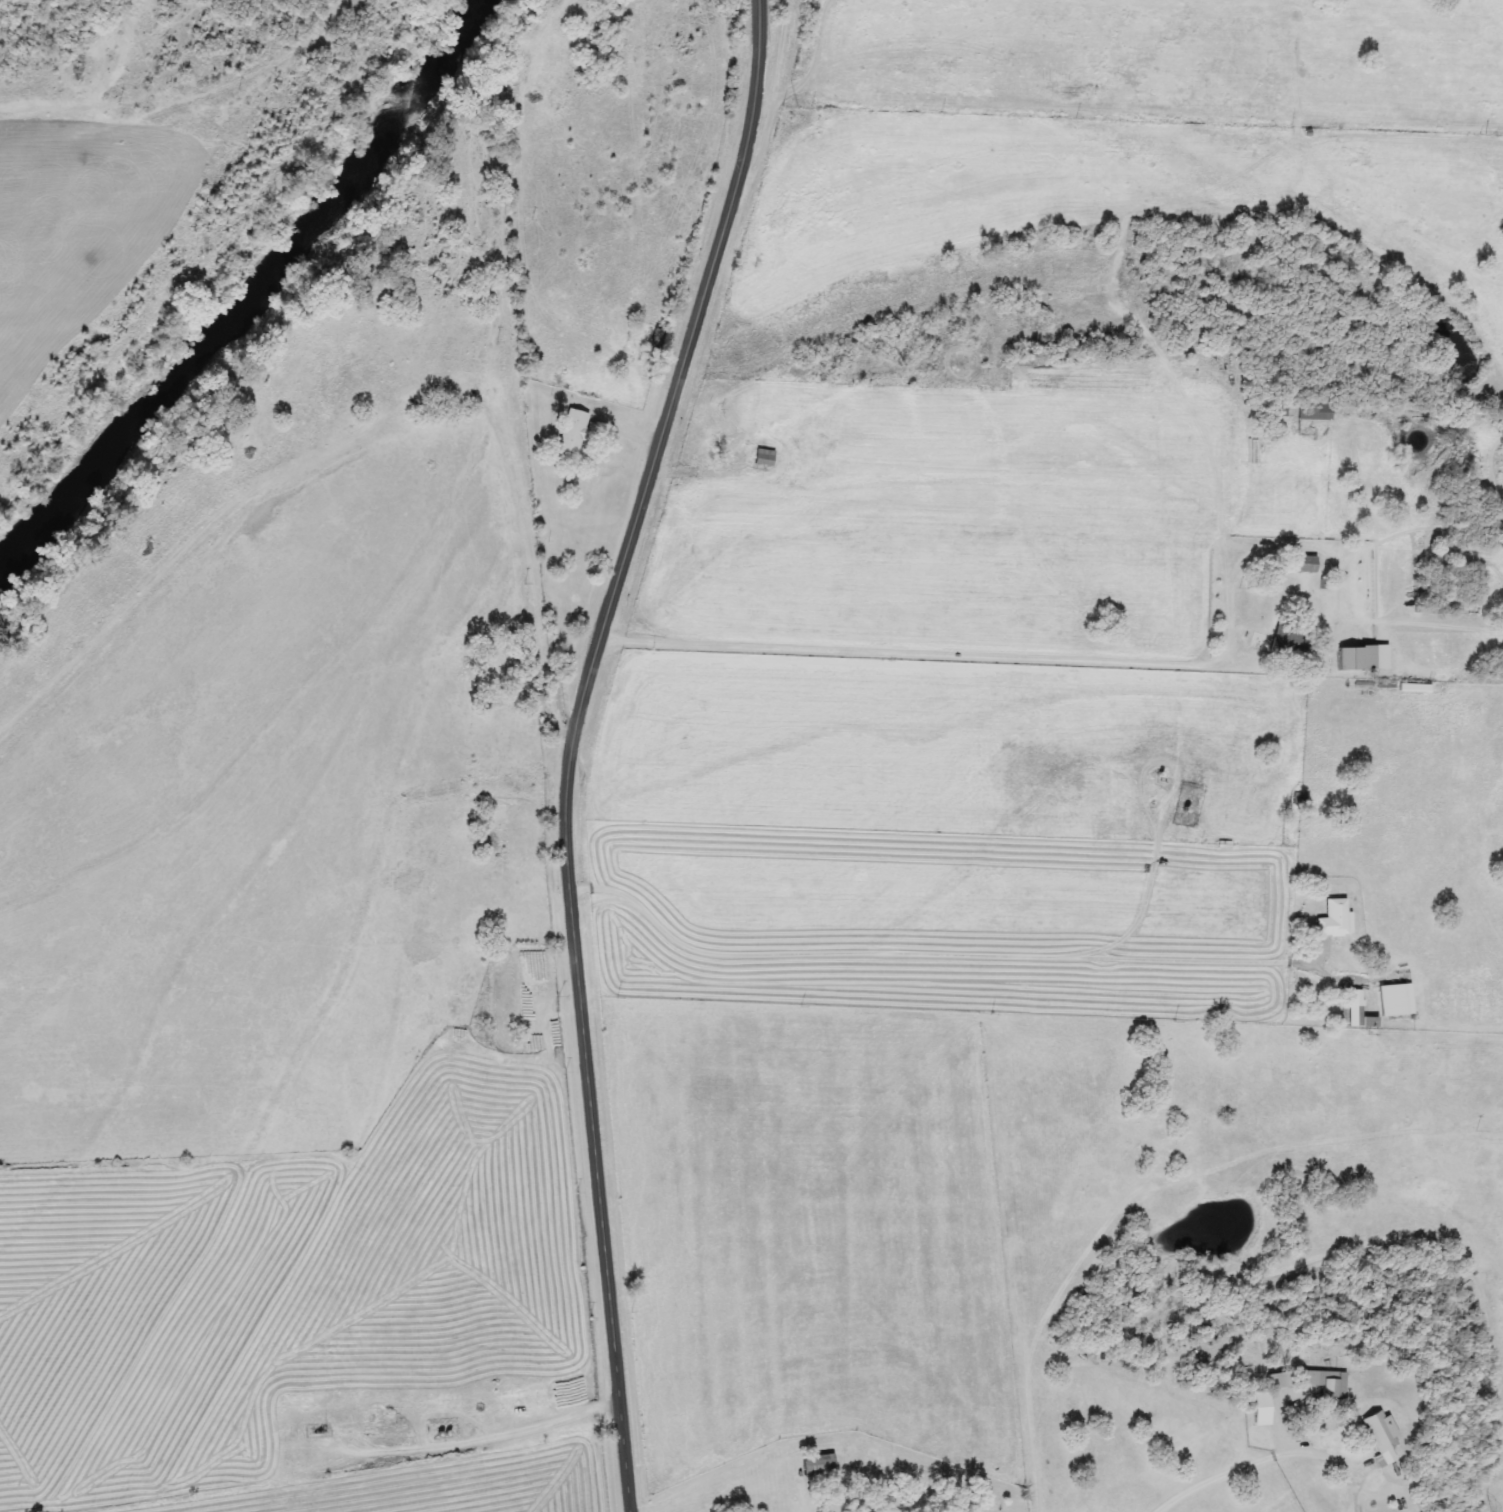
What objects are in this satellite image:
building: (656, 338)
road: (393, 362)
building: (1314, 410)
building: (571, 431)
building: (763, 461)
road: (1223, 530)
building: (1306, 565)
road: (530, 581)
building: (1288, 643)
road: (921, 653)
building: (1356, 658)
road: (573, 745)
road: (1160, 755)
building: (1299, 800)
road: (1139, 900)
building: (1335, 918)
road: (929, 953)
building: (1395, 1000)
building: (1357, 1011)
road: (1196, 1182)
building: (1280, 1380)
building: (1325, 1382)
building: (1262, 1409)
building: (1380, 1437)
building: (817, 1466)
road: (841, 1492)
building: (918, 1508)

